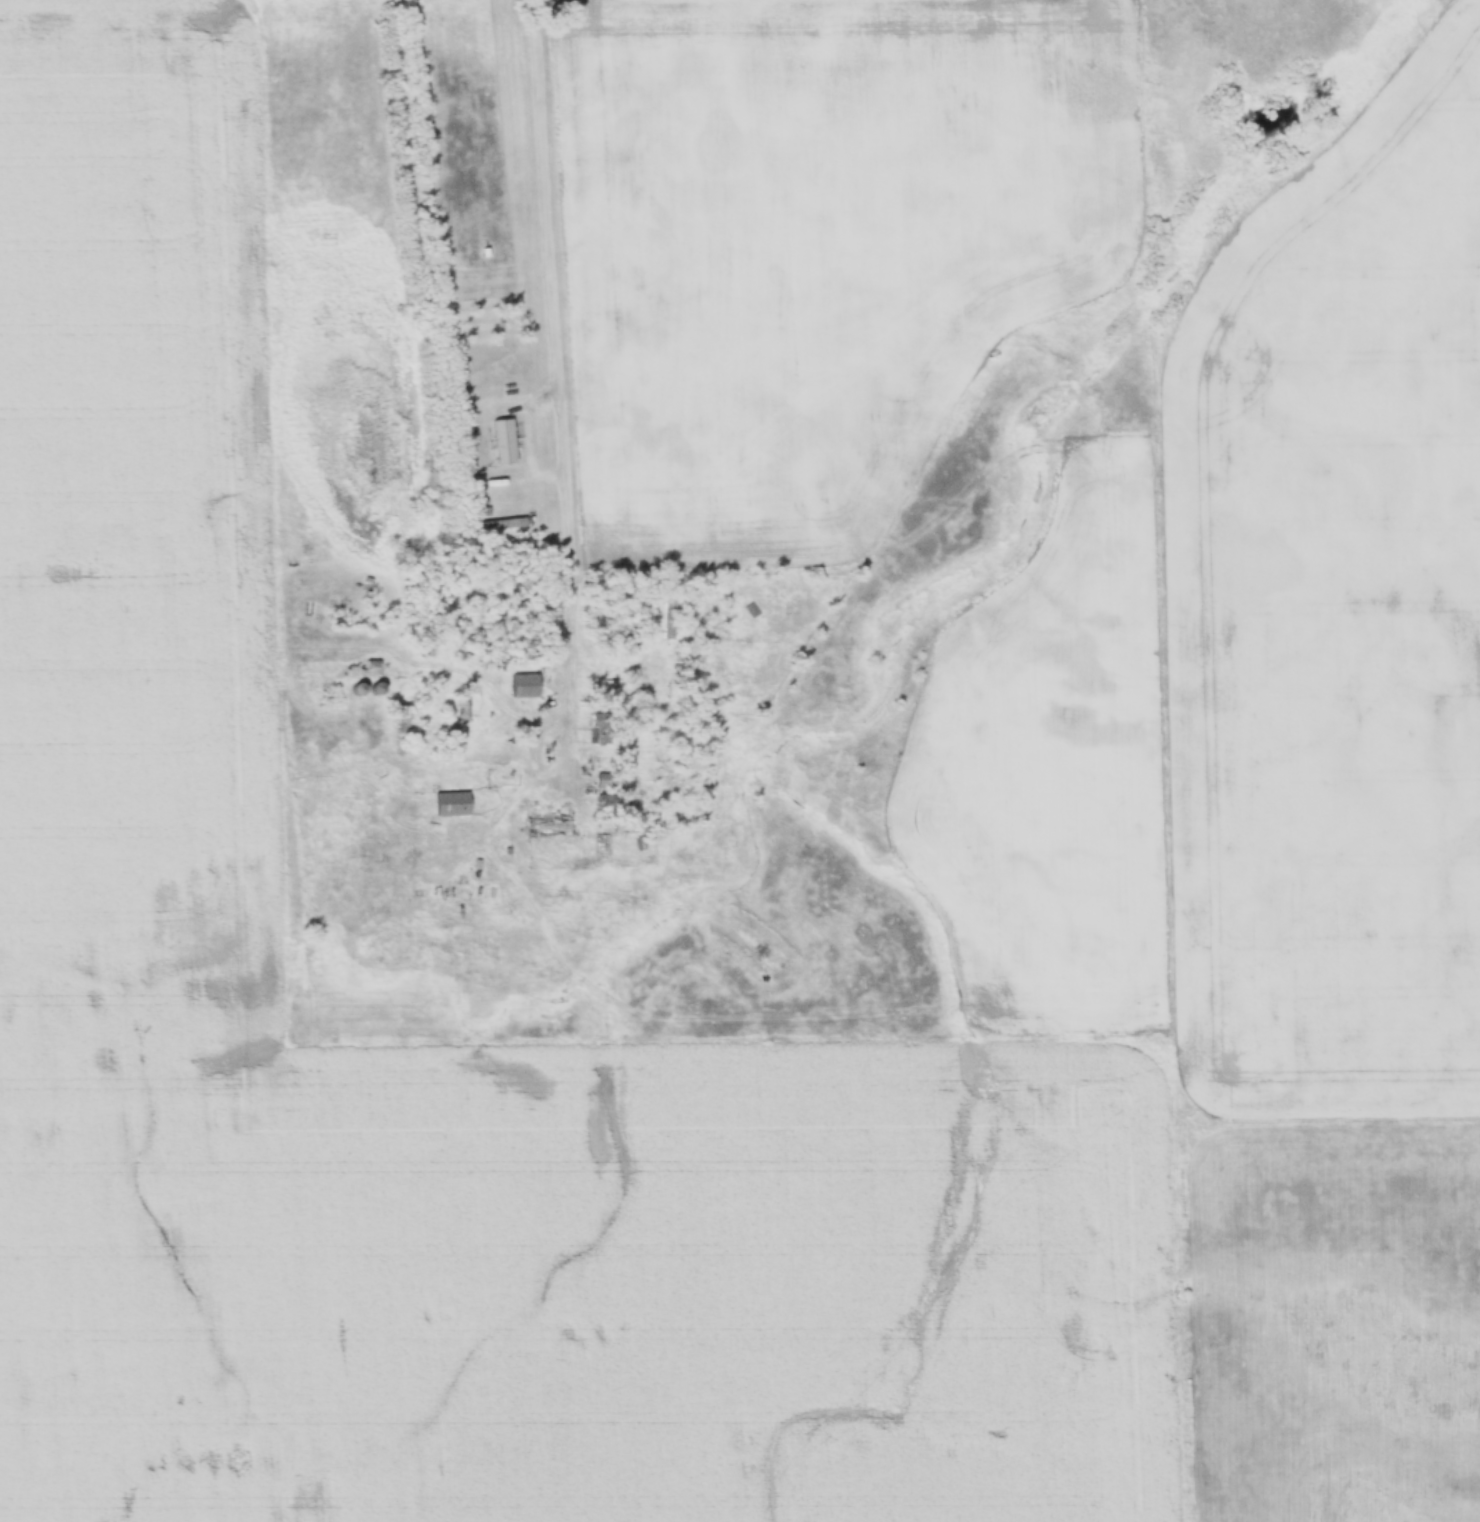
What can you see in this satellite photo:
road: (556, 377)
building: (503, 442)
building: (751, 610)
building: (667, 619)
building: (688, 654)
building: (524, 686)
building: (597, 731)
building: (606, 804)
building: (450, 805)
building: (544, 826)

